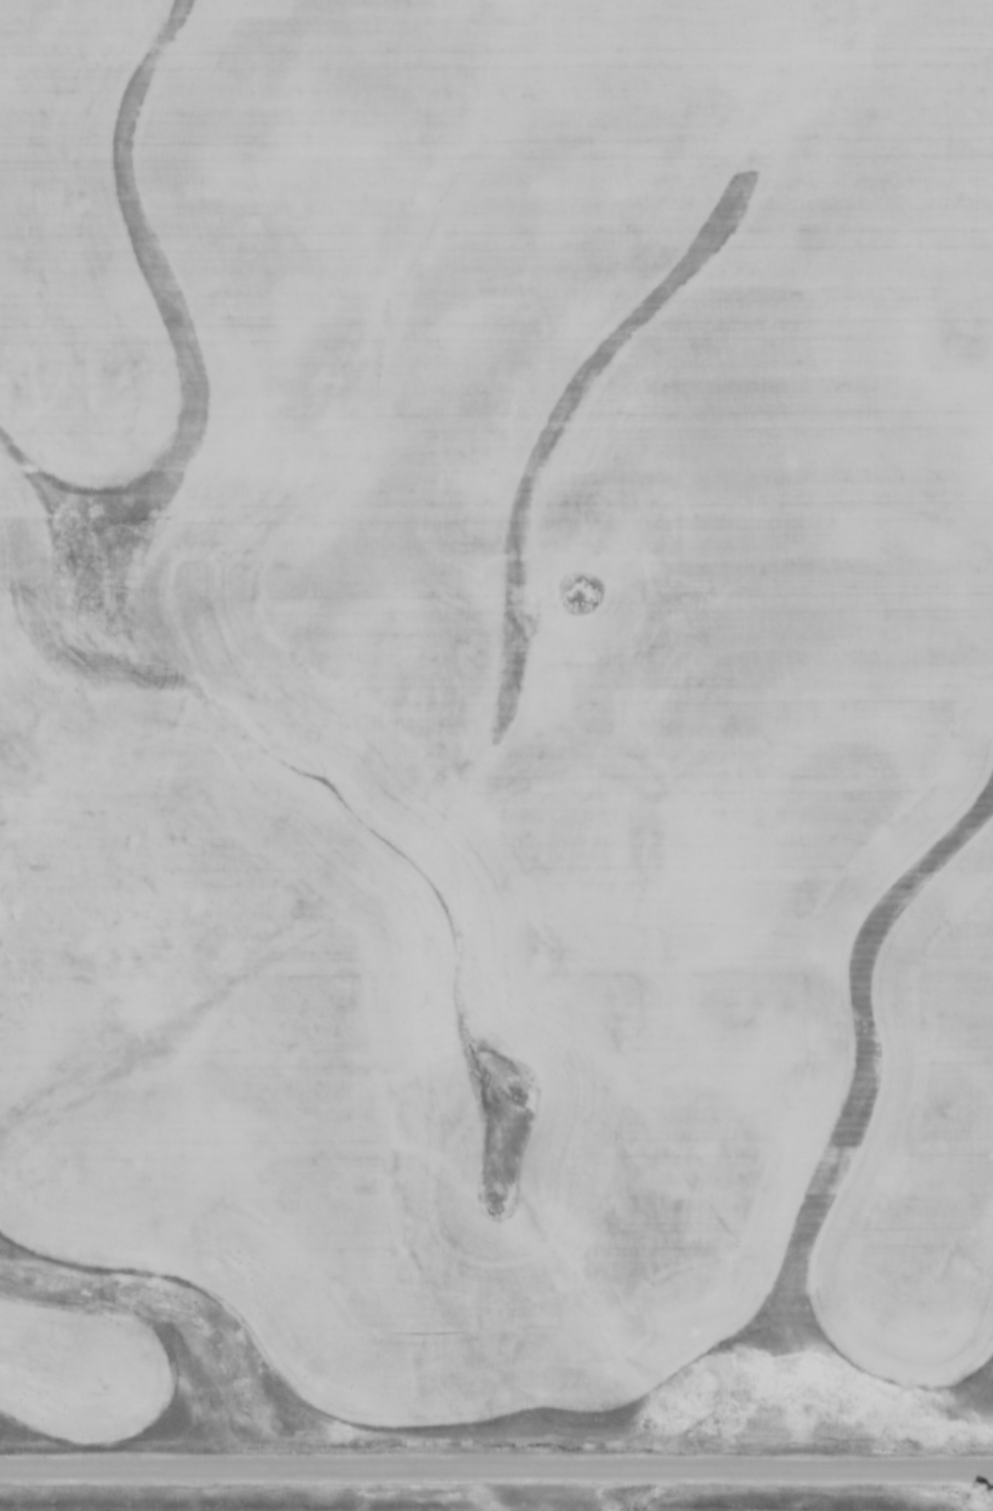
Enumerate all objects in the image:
road: (496, 1473)

